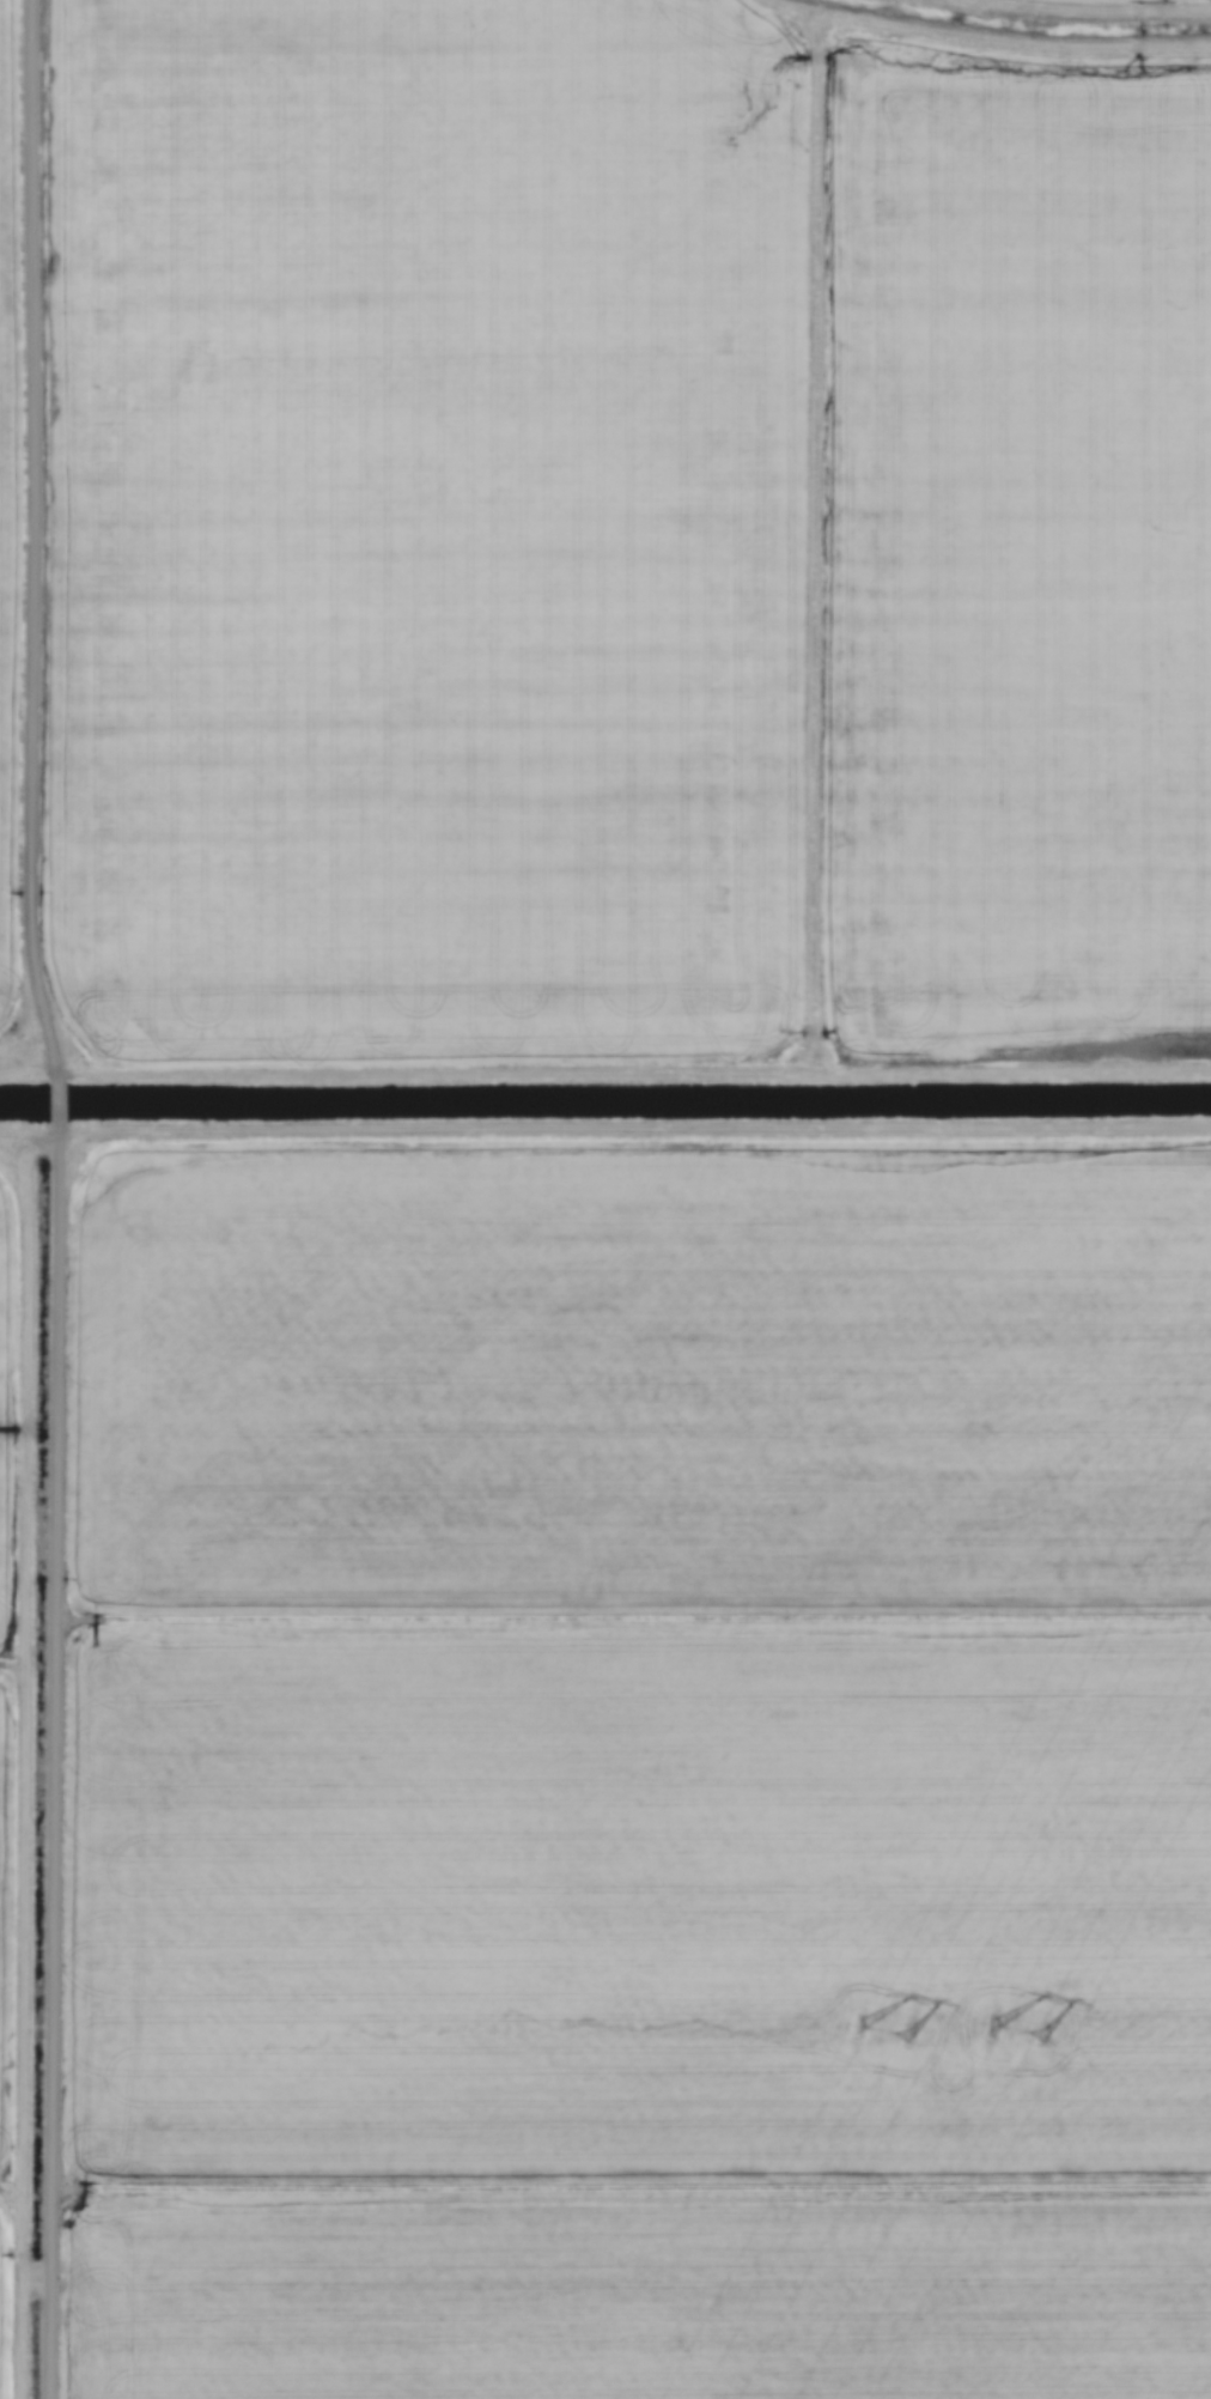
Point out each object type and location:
power tower: (894, 2028)
power tower: (1026, 2035)

